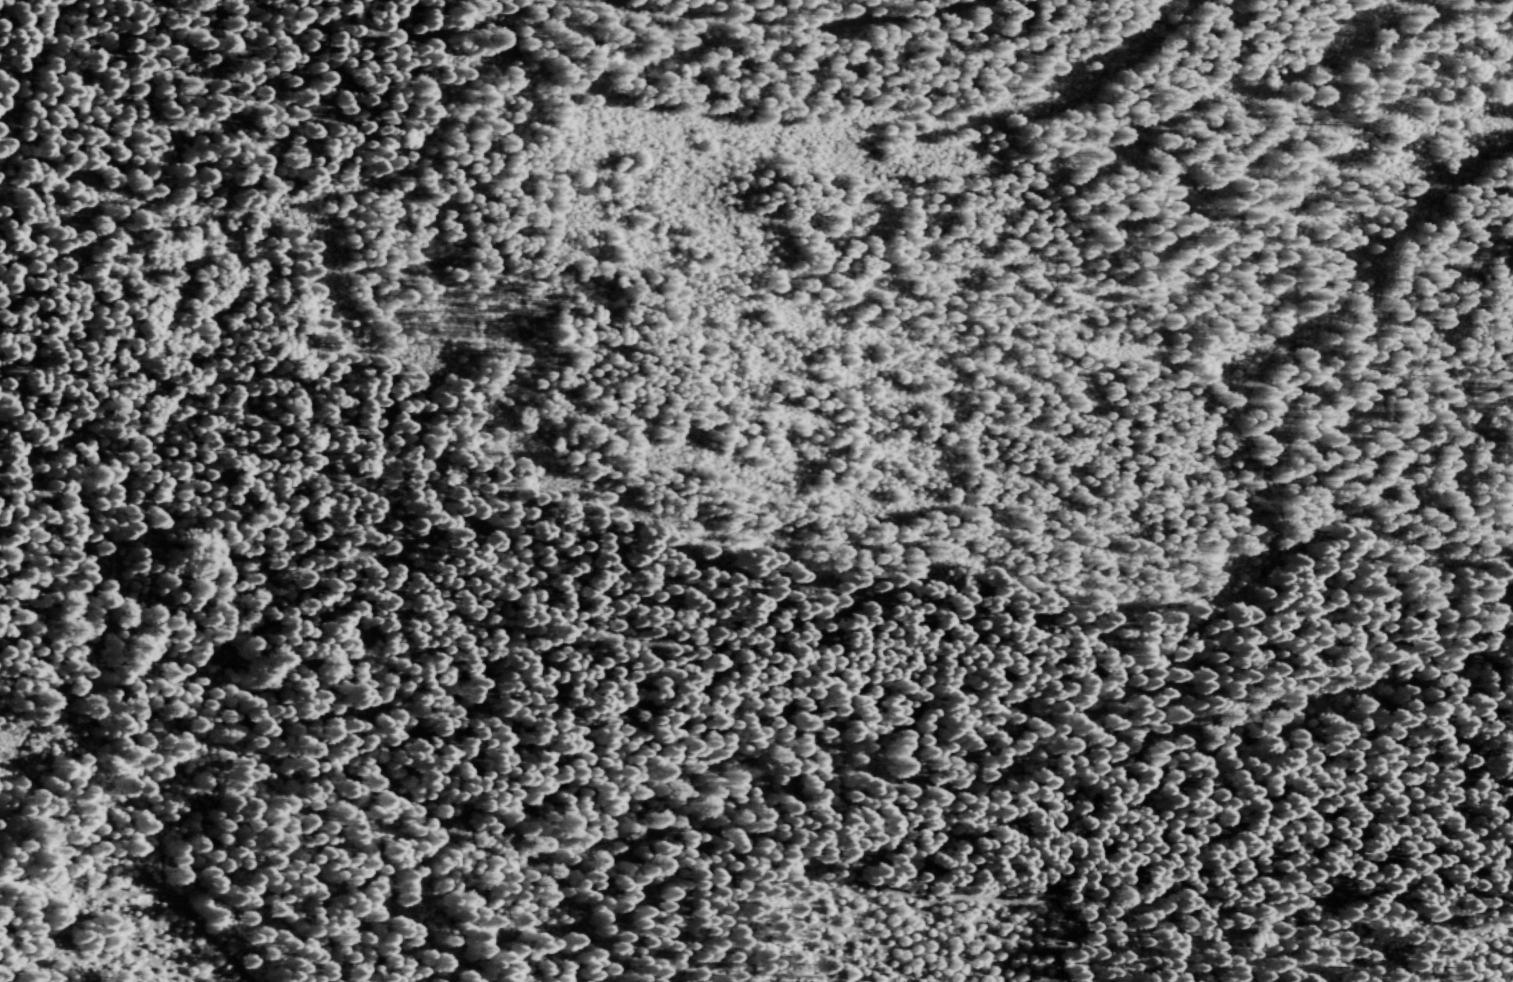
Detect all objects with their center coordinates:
road: (785, 29)
road: (1220, 51)
road: (727, 78)

